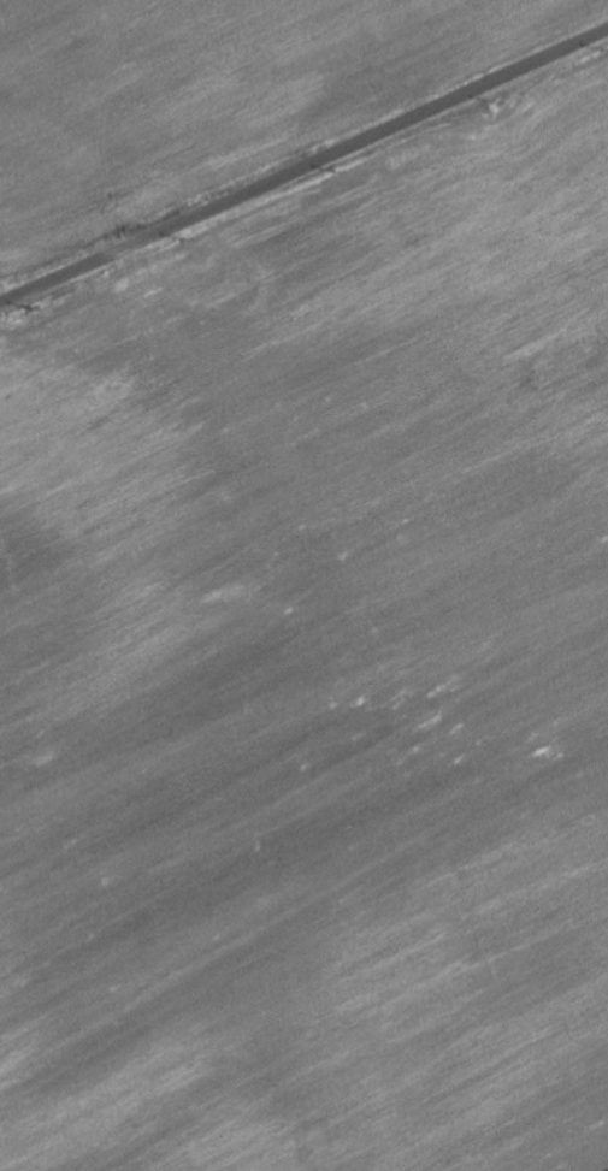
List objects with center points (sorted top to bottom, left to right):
road: (305, 168)

